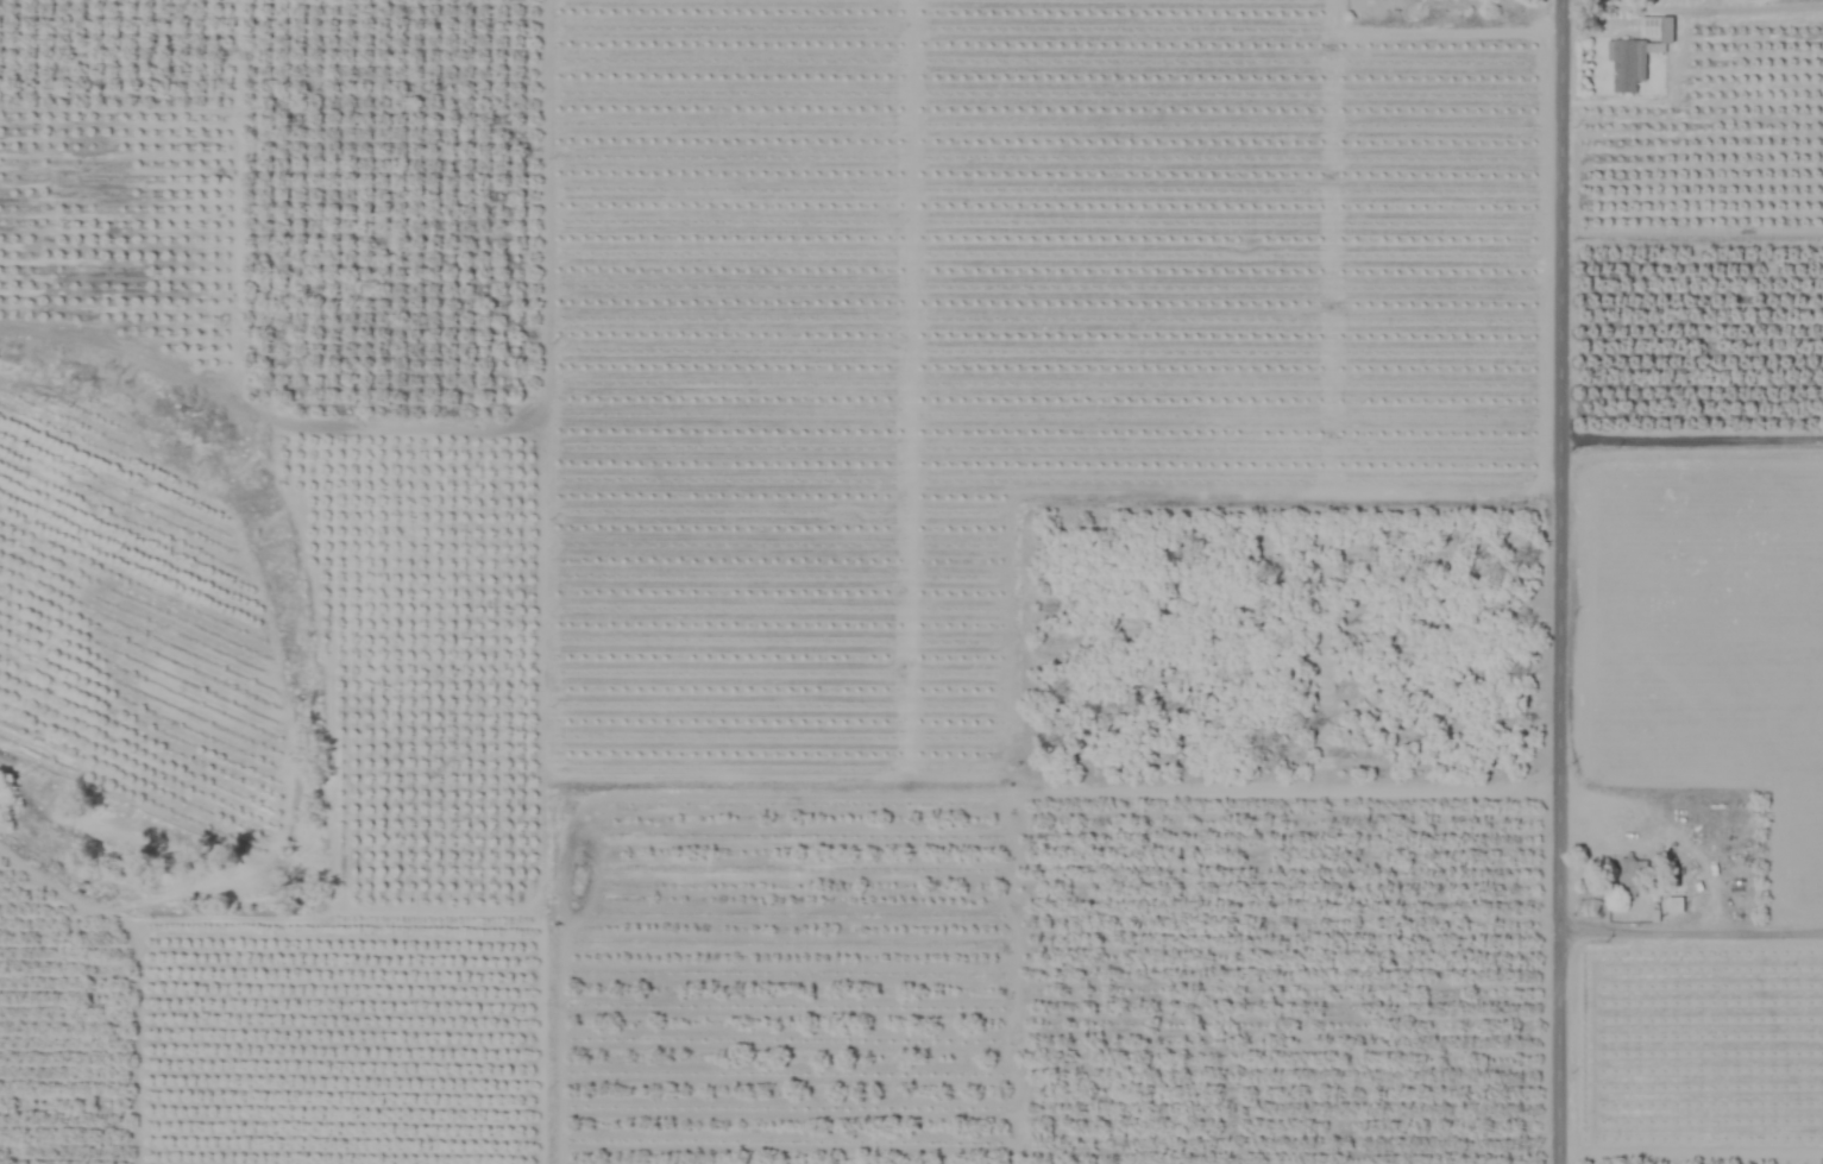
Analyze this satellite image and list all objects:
road: (1691, 10)
building: (1651, 27)
building: (1627, 65)
road: (1690, 441)
road: (1557, 581)
building: (1630, 873)
building: (1673, 906)
road: (1689, 931)

